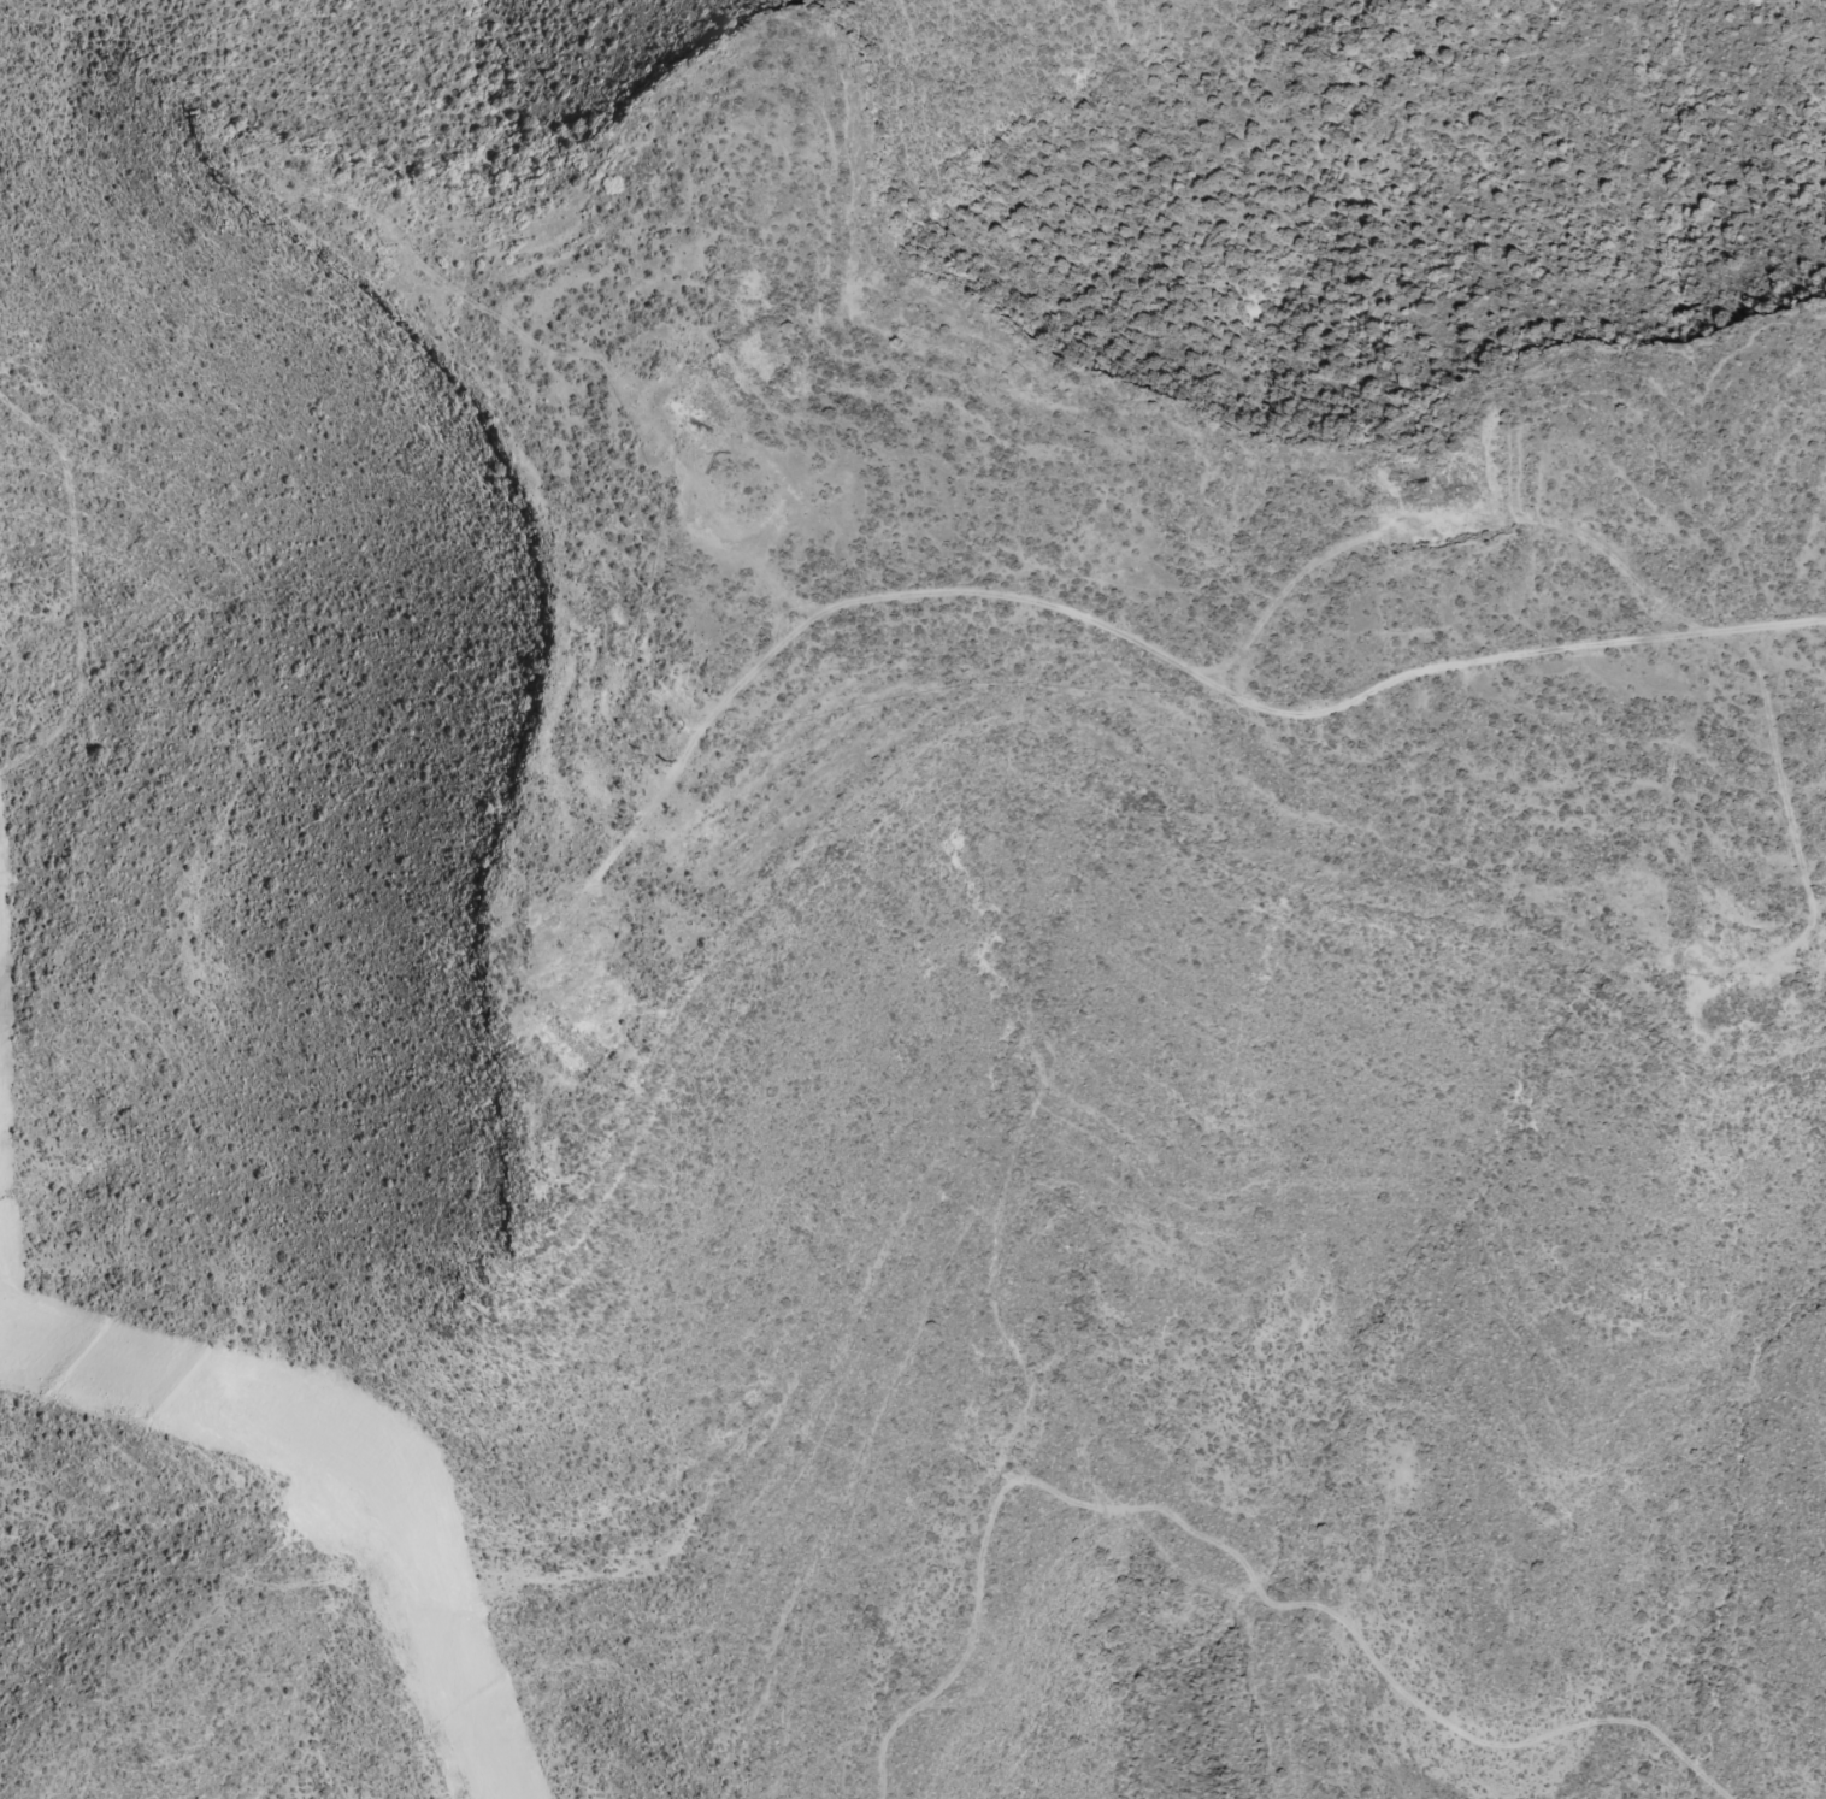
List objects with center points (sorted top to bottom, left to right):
road: (1159, 674)

